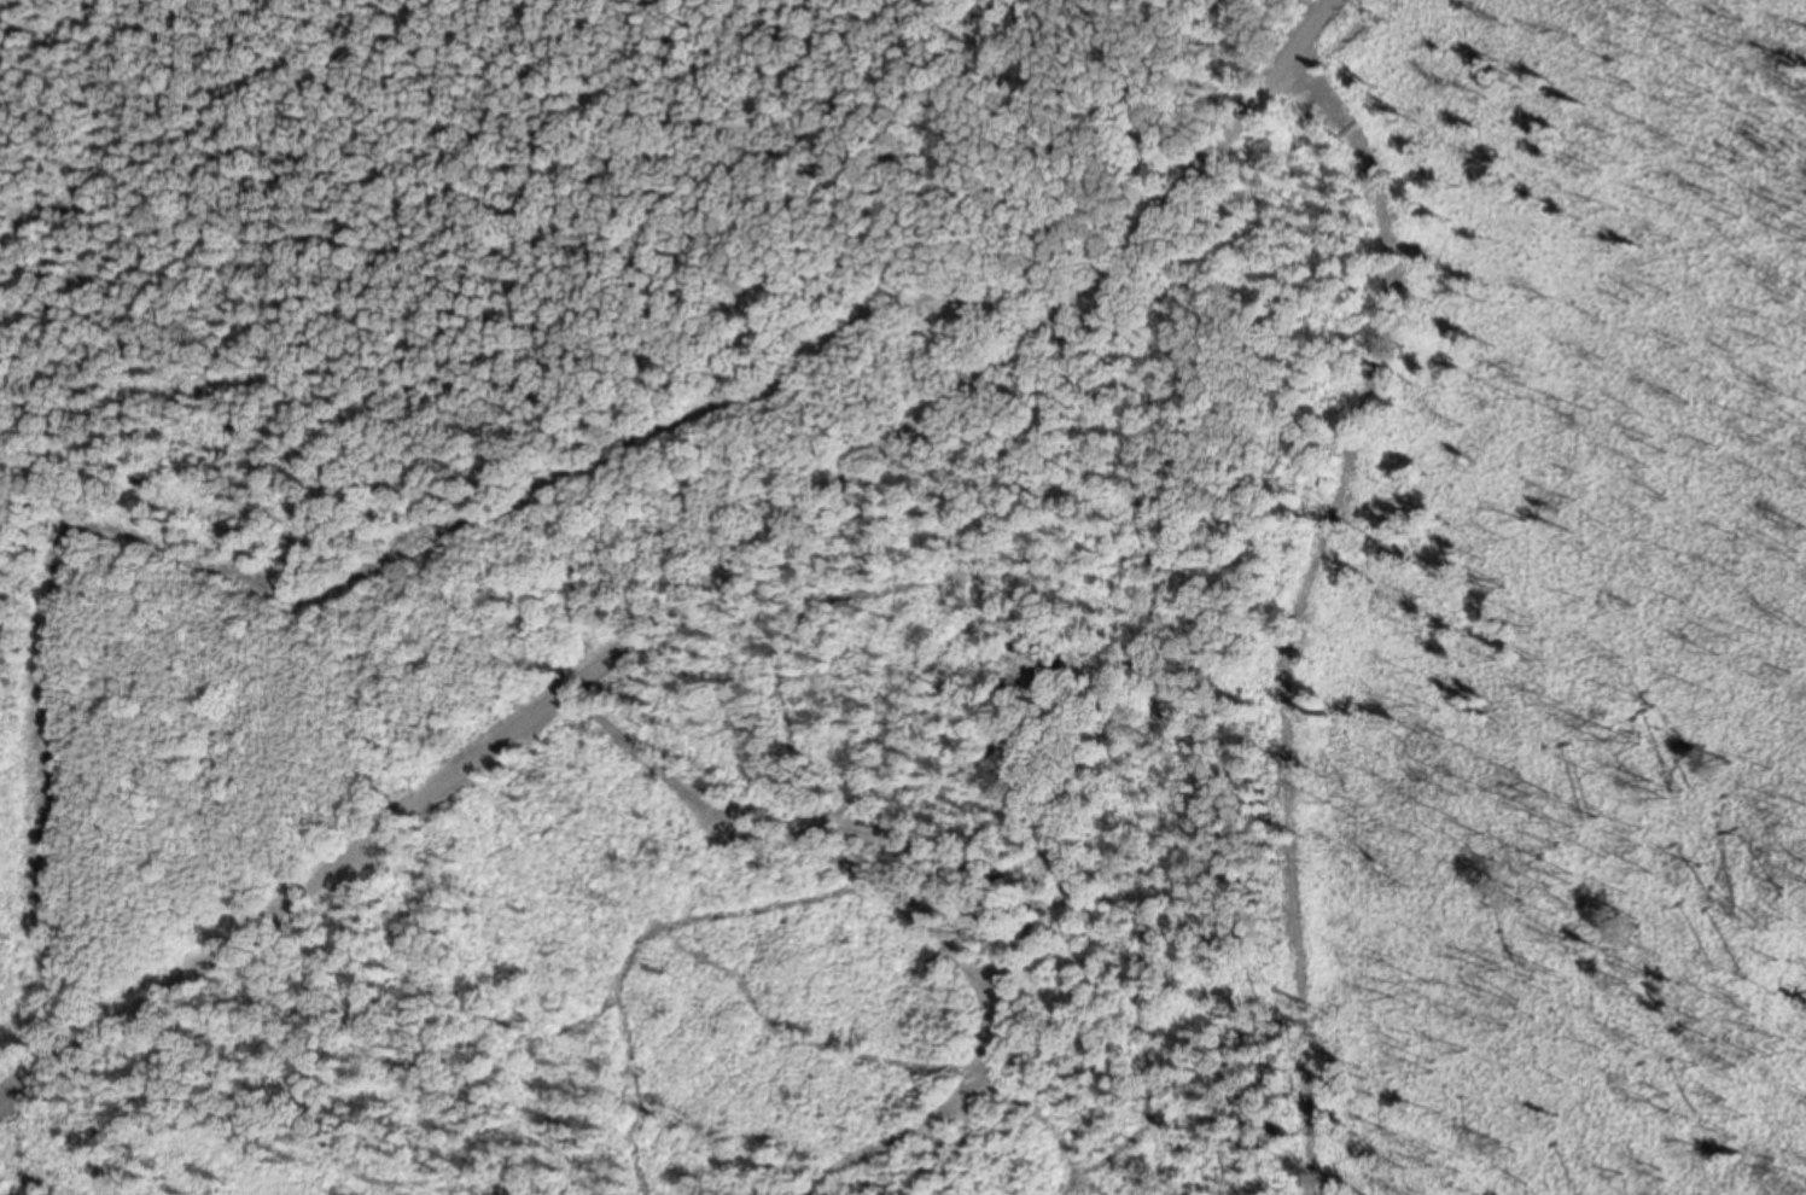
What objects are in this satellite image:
road: (701, 589)
building: (1029, 637)
building: (1051, 670)

